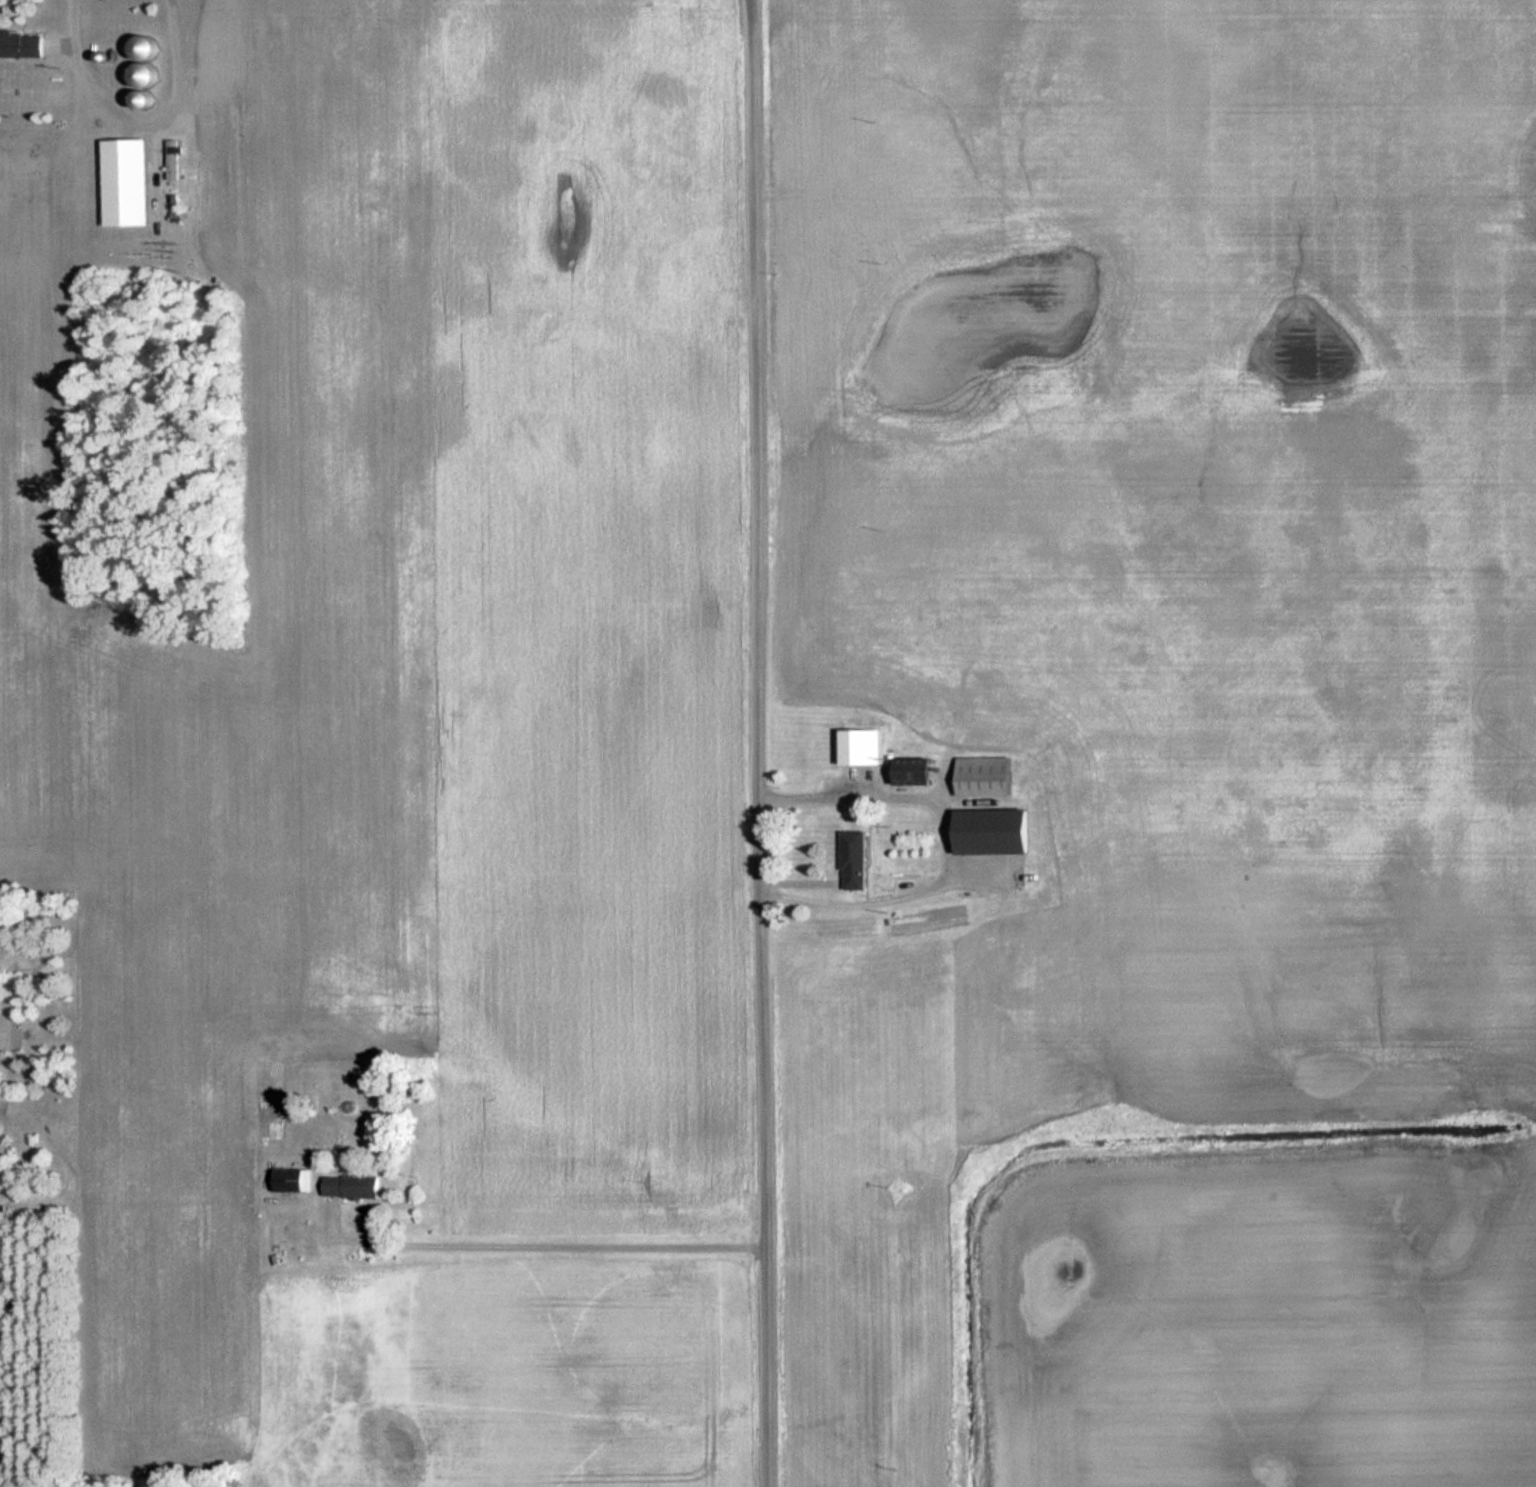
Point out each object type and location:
building: (22, 46)
building: (149, 63)
building: (174, 159)
building: (128, 183)
building: (697, 261)
road: (764, 743)
building: (864, 747)
building: (918, 771)
building: (987, 776)
building: (998, 831)
building: (857, 860)
building: (293, 1180)
building: (354, 1187)

